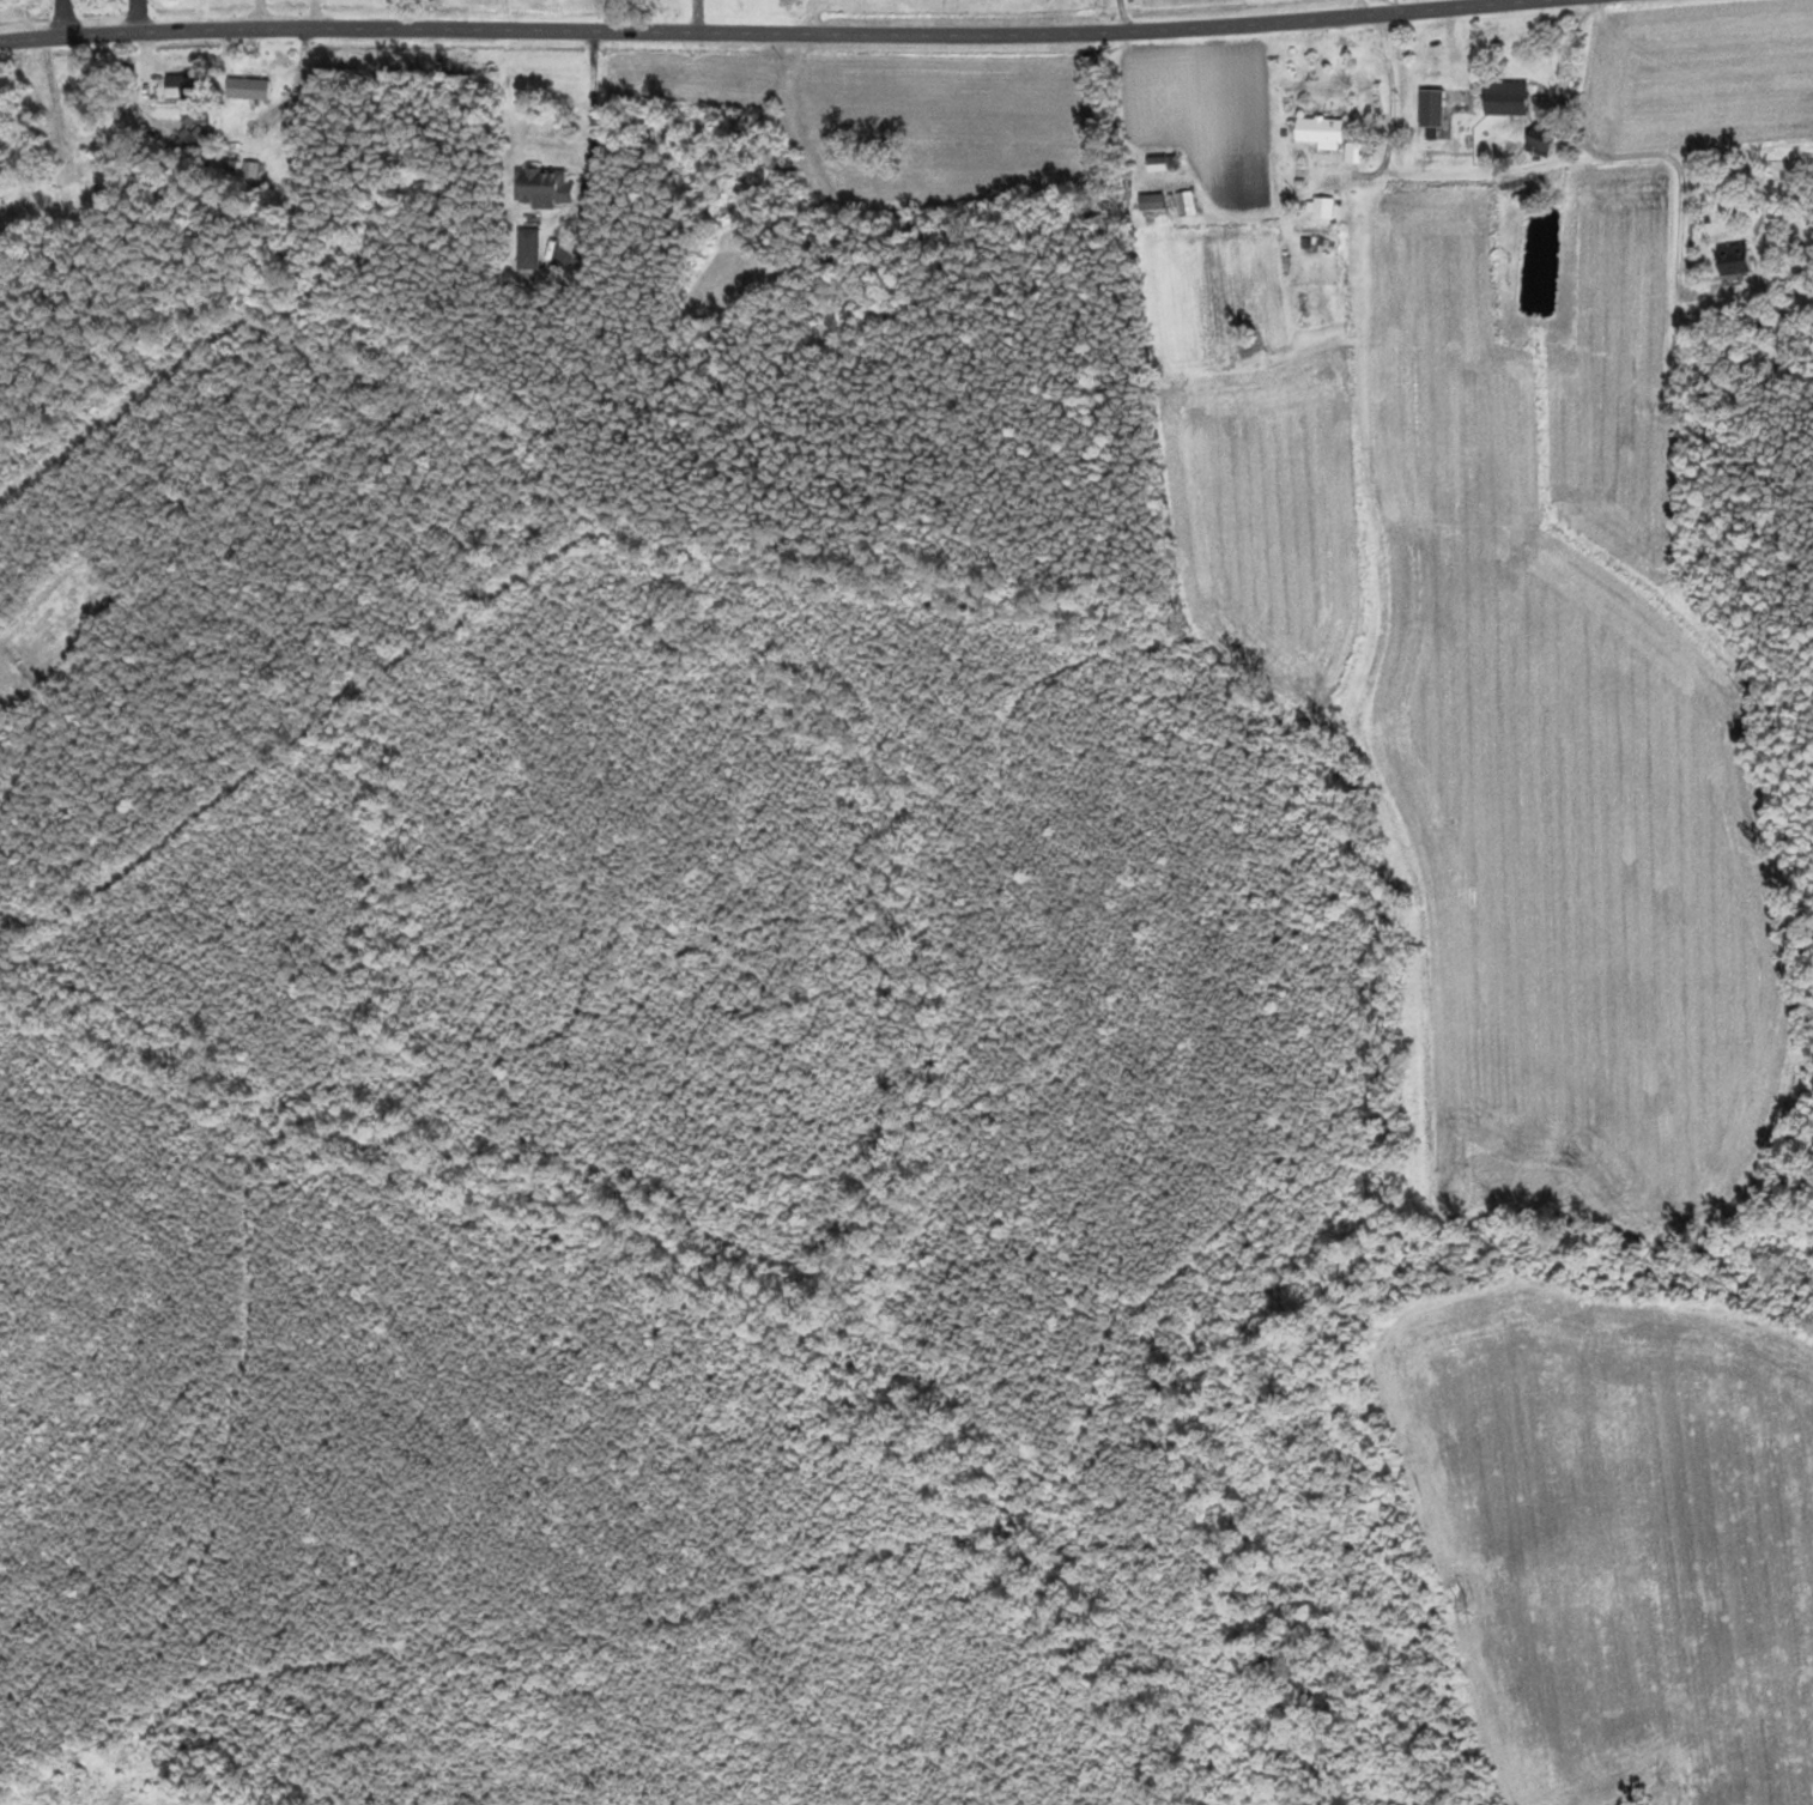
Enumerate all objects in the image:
road: (760, 31)
building: (190, 85)
building: (250, 87)
building: (1504, 96)
building: (1431, 105)
building: (1322, 131)
building: (1539, 138)
building: (1163, 163)
building: (77, 170)
building: (546, 187)
building: (1156, 201)
building: (1187, 204)
building: (1326, 207)
building: (530, 248)
building: (1734, 259)

